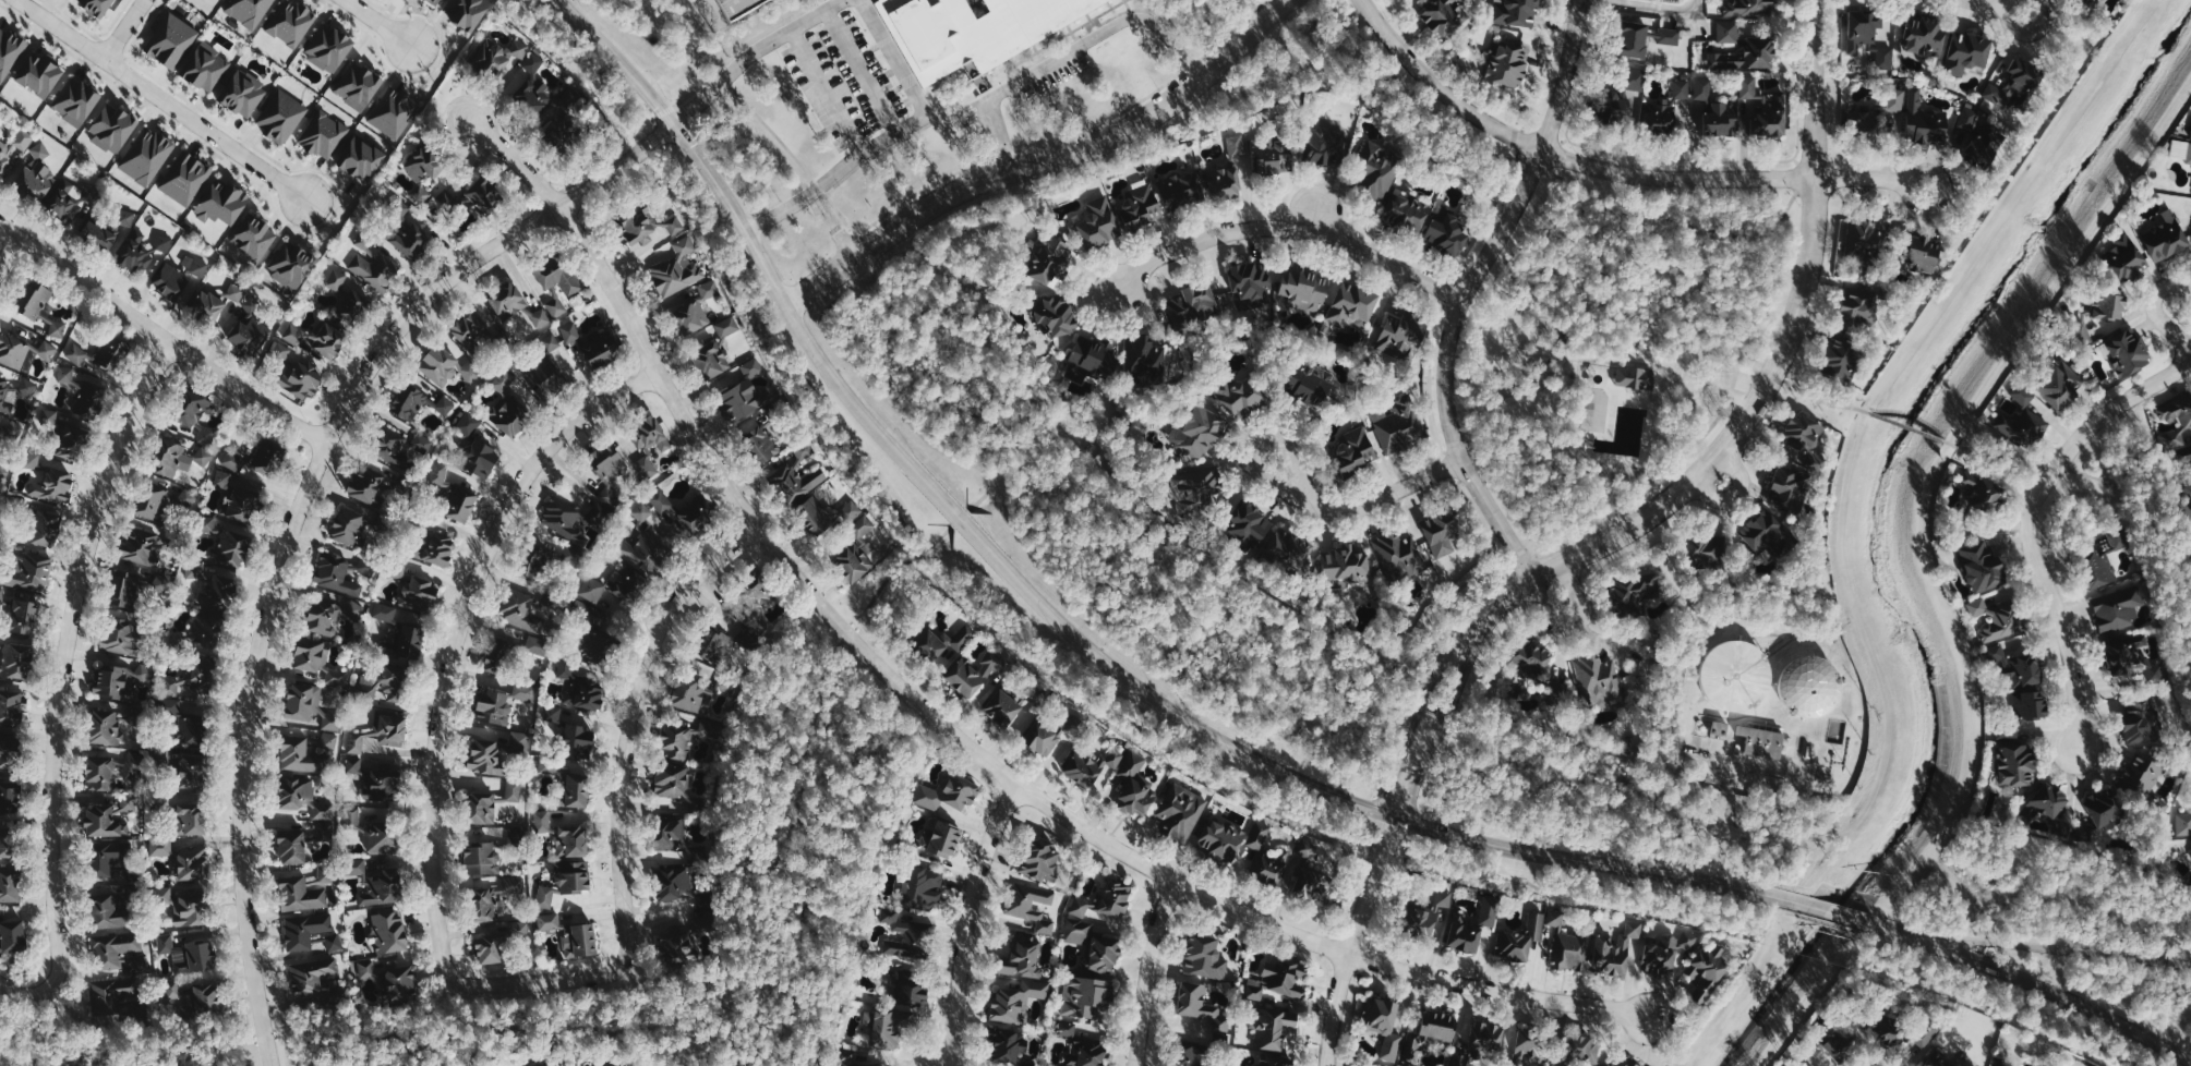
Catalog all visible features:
building: (436, 1)
road: (2000, 2)
building: (96, 5)
building: (737, 7)
road: (1646, 7)
building: (1749, 8)
building: (250, 11)
building: (467, 12)
building: (1516, 12)
building: (1444, 15)
road: (377, 22)
building: (291, 23)
road: (124, 27)
building: (972, 29)
building: (1729, 32)
road: (2025, 34)
building: (1670, 36)
building: (1926, 36)
building: (1869, 37)
building: (1634, 39)
building: (171, 40)
building: (329, 48)
building: (9, 51)
road: (1071, 52)
building: (1969, 52)
road: (753, 54)
building: (1747, 56)
building: (498, 57)
building: (1508, 64)
building: (206, 68)
building: (39, 75)
building: (2014, 83)
building: (359, 86)
building: (533, 88)
road: (832, 89)
road: (691, 90)
building: (243, 94)
building: (1622, 96)
road: (168, 99)
building: (1898, 99)
building: (76, 101)
road: (1434, 105)
building: (1669, 109)
building: (1765, 109)
road: (662, 110)
building: (1716, 110)
building: (395, 112)
building: (282, 116)
building: (1926, 121)
building: (1865, 124)
building: (112, 128)
building: (556, 131)
building: (324, 134)
road: (894, 134)
building: (2190, 134)
building: (1981, 135)
road: (653, 138)
building: (1237, 146)
building: (1321, 146)
building: (41, 150)
road: (605, 152)
building: (2188, 152)
building: (4, 154)
road: (1562, 154)
building: (147, 156)
building: (1275, 157)
building: (361, 159)
road: (1045, 161)
building: (1376, 169)
building: (422, 173)
building: (186, 178)
road: (1861, 181)
building: (33, 183)
building: (1225, 183)
road: (914, 191)
building: (1182, 191)
building: (483, 195)
building: (69, 203)
building: (222, 203)
building: (399, 207)
building: (1141, 207)
road: (1922, 208)
building: (1408, 214)
road: (1314, 217)
building: (1097, 225)
road: (1291, 228)
building: (650, 229)
building: (107, 230)
road: (1501, 231)
building: (1447, 234)
building: (2164, 235)
building: (1864, 237)
building: (254, 238)
building: (410, 238)
building: (164, 243)
building: (1924, 251)
road: (10, 253)
building: (136, 253)
building: (1049, 259)
building: (2122, 261)
building: (291, 264)
building: (195, 265)
building: (678, 269)
building: (376, 270)
building: (557, 274)
building: (172, 281)
building: (1251, 282)
building: (1304, 288)
building: (710, 289)
building: (236, 292)
building: (348, 296)
building: (507, 300)
building: (208, 304)
building: (557, 304)
building: (1194, 305)
road: (2156, 305)
building: (1353, 306)
building: (1858, 306)
building: (44, 312)
building: (2097, 314)
building: (1055, 315)
building: (691, 316)
building: (540, 317)
building: (729, 326)
building: (470, 328)
building: (571, 331)
building: (250, 335)
road: (160, 336)
building: (1401, 336)
building: (320, 339)
building: (551, 341)
park: (1616, 341)
building: (600, 348)
building: (48, 350)
building: (14, 352)
building: (2126, 352)
building: (77, 353)
road: (787, 354)
building: (1842, 356)
building: (711, 359)
building: (1093, 359)
building: (1146, 360)
building: (446, 365)
building: (294, 371)
building: (542, 373)
building: (1636, 376)
road: (871, 378)
building: (1307, 381)
building: (2058, 381)
building: (27, 386)
road: (1765, 387)
building: (744, 391)
building: (83, 392)
building: (1241, 393)
building: (5, 397)
road: (1820, 400)
building: (418, 401)
building: (511, 403)
building: (195, 413)
building: (49, 416)
building: (2020, 422)
building: (2183, 422)
building: (469, 423)
building: (1400, 423)
road: (1909, 427)
building: (1199, 432)
building: (649, 433)
building: (1806, 436)
building: (71, 440)
building: (759, 440)
building: (398, 445)
building: (805, 449)
building: (1356, 450)
building: (204, 456)
building: (168, 457)
building: (268, 457)
building: (479, 458)
building: (32, 459)
building: (234, 460)
building: (648, 467)
building: (610, 469)
building: (3, 471)
building: (441, 473)
building: (2183, 473)
building: (224, 477)
building: (798, 482)
building: (371, 484)
building: (53, 485)
road: (2117, 485)
building: (1787, 486)
building: (1197, 487)
road: (1736, 495)
building: (189, 497)
building: (1976, 498)
building: (154, 501)
building: (243, 502)
building: (461, 502)
road: (1361, 506)
building: (2184, 506)
building: (851, 510)
building: (682, 514)
building: (815, 514)
road: (297, 517)
road: (1501, 519)
building: (565, 520)
road: (2031, 522)
building: (207, 523)
building: (1249, 523)
building: (44, 526)
building: (348, 526)
building: (1441, 530)
building: (1766, 531)
building: (143, 545)
building: (232, 548)
building: (440, 548)
building: (1704, 548)
building: (1291, 549)
building: (858, 550)
building: (640, 554)
building: (573, 555)
building: (1400, 555)
building: (532, 561)
building: (2098, 562)
building: (1346, 565)
building: (1981, 565)
building: (368, 566)
building: (399, 567)
building: (194, 569)
building: (29, 572)
building: (336, 573)
building: (162, 581)
building: (593, 587)
building: (123, 589)
building: (420, 593)
building: (1634, 593)
building: (1, 597)
building: (756, 603)
building: (2116, 605)
building: (212, 610)
building: (385, 610)
building: (521, 610)
building: (328, 615)
building: (24, 616)
building: (1995, 616)
road: (1062, 622)
road: (1577, 625)
building: (592, 629)
building: (121, 634)
building: (942, 640)
building: (404, 642)
building: (712, 644)
building: (538, 645)
building: (311, 654)
building: (498, 654)
building: (1532, 655)
building: (2128, 657)
building: (15, 661)
building: (566, 667)
building: (2015, 667)
building: (973, 671)
building: (1736, 675)
building: (189, 676)
building: (337, 676)
building: (121, 678)
building: (1598, 678)
building: (384, 682)
road: (448, 683)
road: (59, 685)
building: (1811, 686)
building: (586, 692)
building: (697, 692)
road: (1423, 694)
building: (11, 701)
building: (309, 705)
building: (1003, 706)
building: (493, 707)
road: (1448, 707)
building: (2024, 708)
building: (554, 713)
building: (2141, 718)
building: (185, 722)
road: (1130, 722)
road: (947, 724)
building: (105, 726)
building: (1721, 727)
building: (381, 732)
road: (809, 734)
building: (520, 736)
building: (685, 738)
building: (1043, 738)
building: (1761, 739)
building: (330, 740)
building: (578, 740)
building: (9, 752)
building: (301, 755)
building: (2014, 764)
building: (354, 765)
building: (549, 765)
building: (1087, 765)
building: (132, 767)
road: (625, 767)
building: (190, 772)
building: (100, 773)
building: (2141, 776)
building: (673, 779)
road: (1735, 783)
building: (382, 785)
building: (1136, 785)
building: (577, 789)
building: (515, 790)
building: (949, 792)
building: (2190, 794)
building: (303, 796)
building: (9, 797)
building: (130, 802)
building: (480, 807)
building: (2048, 807)
building: (1182, 810)
building: (2096, 813)
building: (543, 821)
building: (104, 822)
building: (2183, 822)
building: (373, 833)
building: (671, 834)
building: (1259, 835)
building: (944, 838)
building: (1221, 838)
building: (573, 840)
building: (7, 843)
building: (161, 846)
building: (291, 846)
road: (1384, 847)
building: (105, 858)
building: (482, 858)
building: (1042, 859)
building: (193, 862)
building: (1273, 865)
building: (357, 867)
building: (1312, 873)
building: (327, 875)
building: (573, 875)
building: (672, 883)
building: (10, 884)
building: (516, 884)
building: (383, 886)
building: (924, 887)
road: (1596, 888)
building: (301, 894)
building: (545, 896)
building: (487, 904)
building: (182, 905)
building: (1032, 905)
building: (1488, 910)
building: (108, 911)
road: (1832, 911)
building: (1423, 913)
road: (1361, 914)
building: (550, 920)
road: (1828, 922)
road: (965, 923)
building: (1081, 926)
building: (305, 929)
building: (521, 929)
road: (1898, 930)
building: (390, 931)
building: (1461, 932)
building: (906, 935)
building: (12, 936)
building: (1518, 937)
building: (582, 941)
building: (334, 942)
building: (1567, 943)
building: (115, 947)
building: (679, 947)
building: (487, 948)
building: (1614, 948)
building: (1664, 949)
road: (2061, 950)
building: (189, 953)
building: (1025, 957)
building: (1205, 957)
building: (1710, 961)
building: (887, 966)
building: (368, 968)
road: (1148, 972)
building: (1279, 978)
building: (316, 980)
building: (400, 982)
building: (910, 988)
building: (173, 989)
road: (2007, 989)
road: (1741, 990)
building: (115, 992)
road: (1805, 994)
road: (2063, 994)
building: (1018, 1001)
road: (544, 1002)
building: (1201, 1005)
building: (1383, 1025)
road: (529, 1026)
building: (888, 1026)
building: (1274, 1027)
building: (1068, 1028)
building: (1883, 1028)
building: (1428, 1033)
building: (1479, 1041)
building: (1533, 1041)
building: (1008, 1042)
building: (1828, 1043)
road: (652, 1044)
building: (1582, 1046)
road: (473, 1051)
building: (1192, 1053)
building: (1088, 1054)
building: (852, 1058)
building: (1936, 1058)
building: (1276, 1059)
building: (2003, 1061)
road: (26, 1062)
building: (1510, 1062)
building: (537, 1063)
building: (1611, 1064)
building: (1625, 1064)
building: (1636, 1064)
building: (611, 1065)
building: (1558, 1065)

